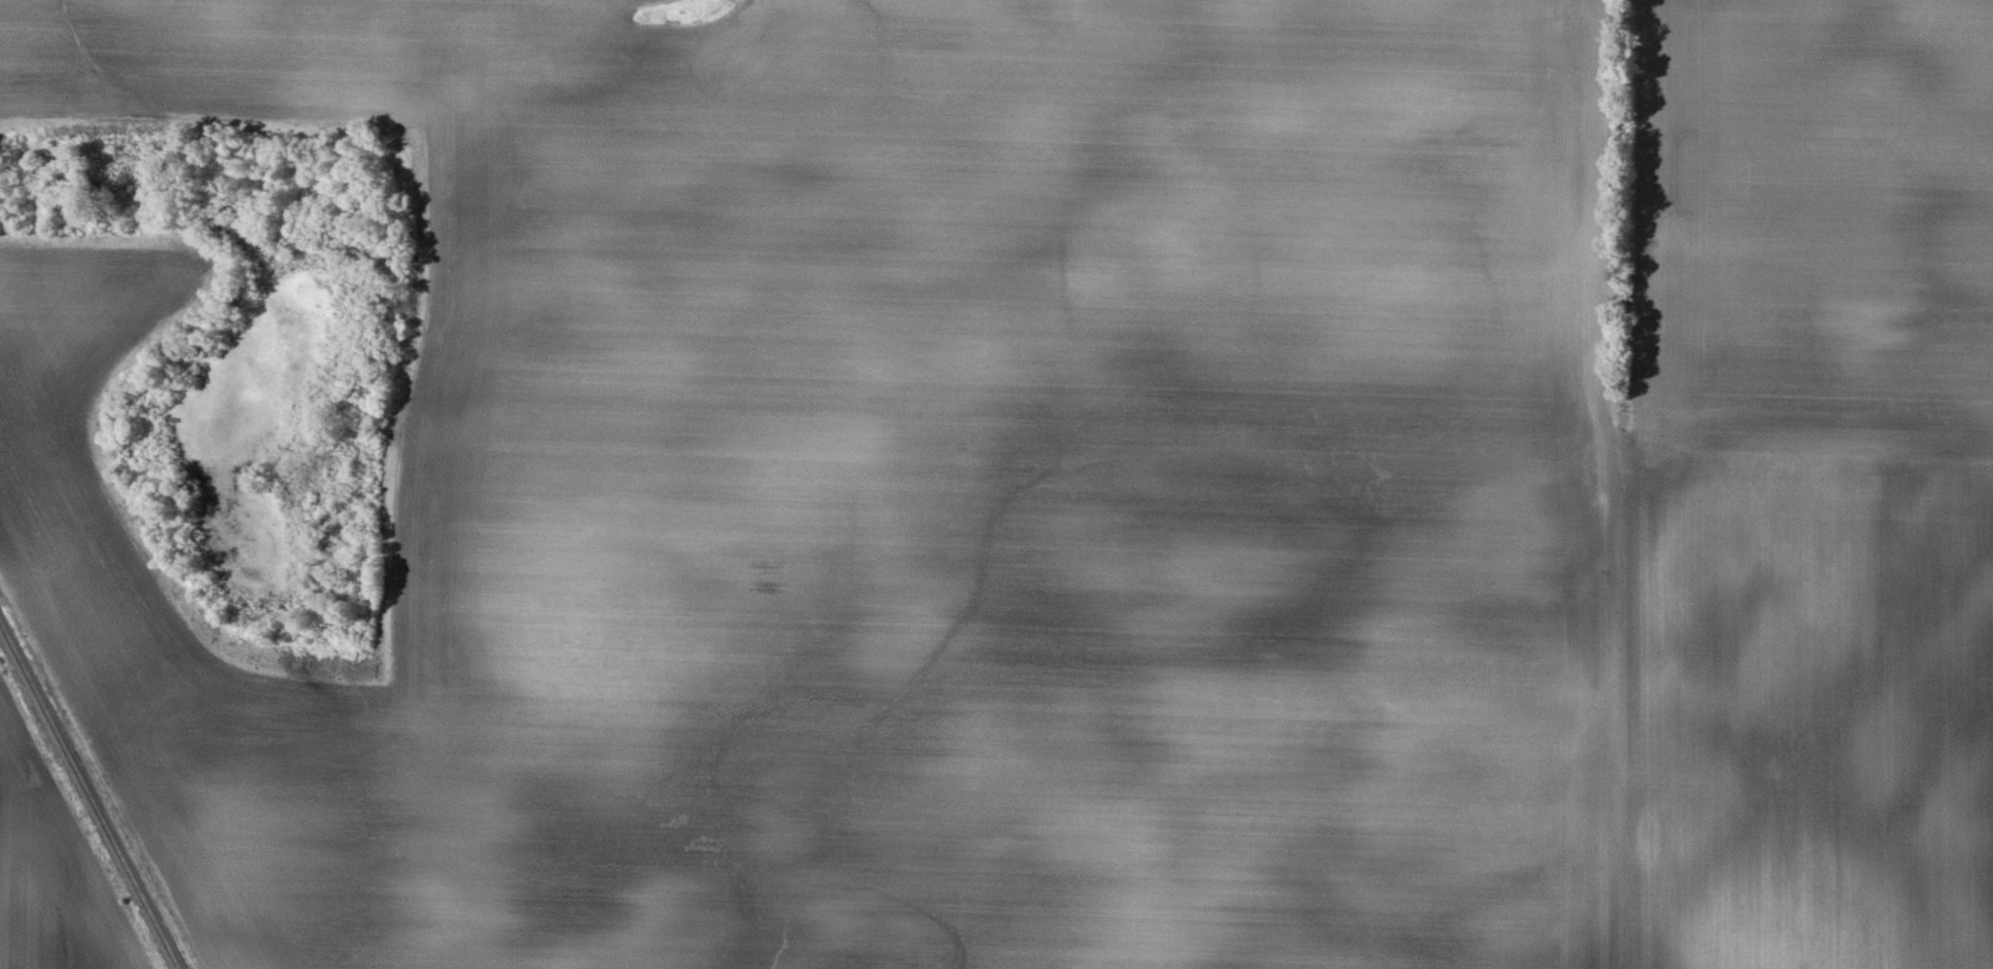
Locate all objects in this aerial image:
railway: (89, 794)

